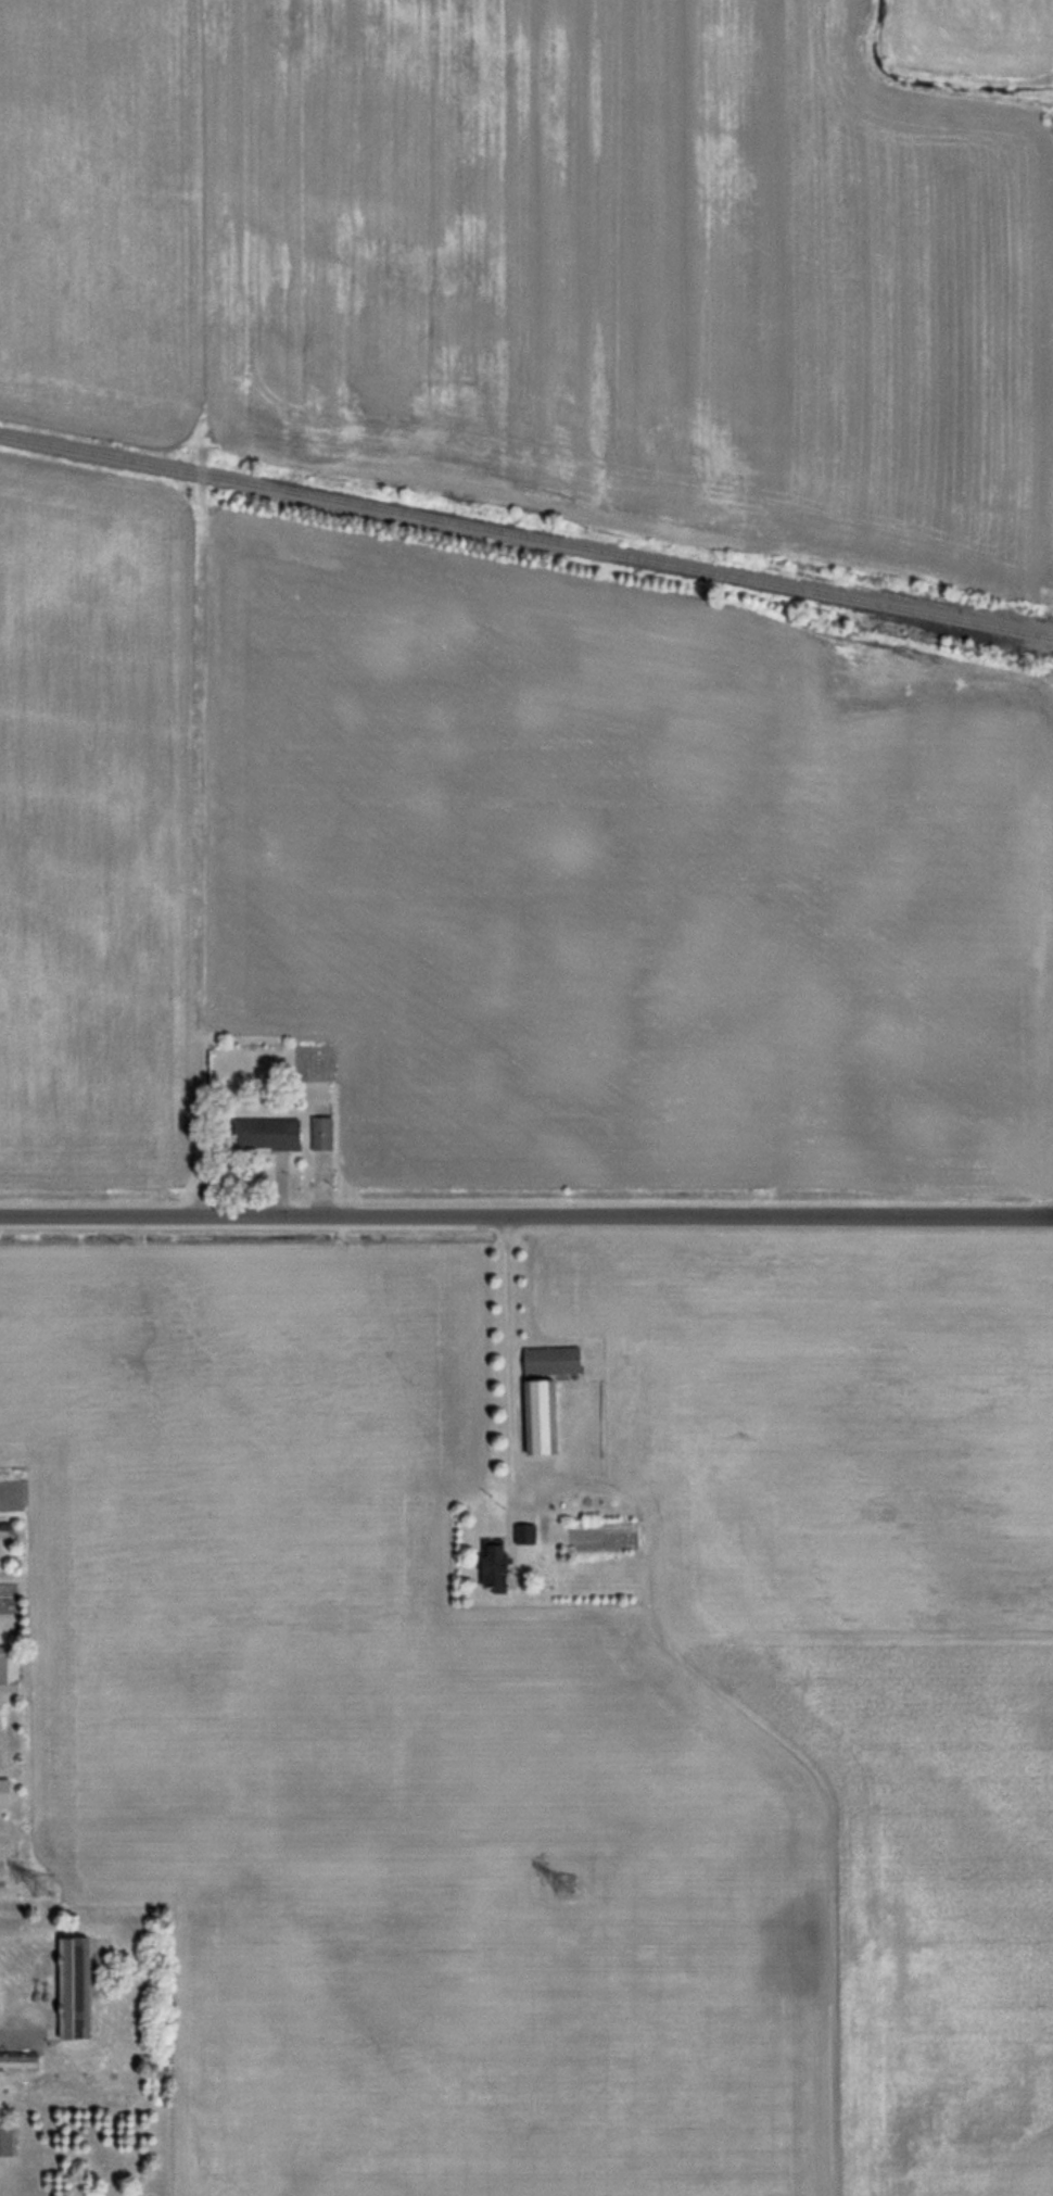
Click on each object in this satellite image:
railway: (526, 537)
building: (326, 1133)
building: (267, 1134)
road: (526, 1216)
building: (556, 1361)
building: (547, 1416)
building: (503, 1563)
building: (11, 1675)
building: (9, 1793)
power tower: (54, 1888)
power tower: (562, 1888)
building: (79, 1990)
road: (20, 2021)
building: (15, 2062)
building: (8, 2140)

